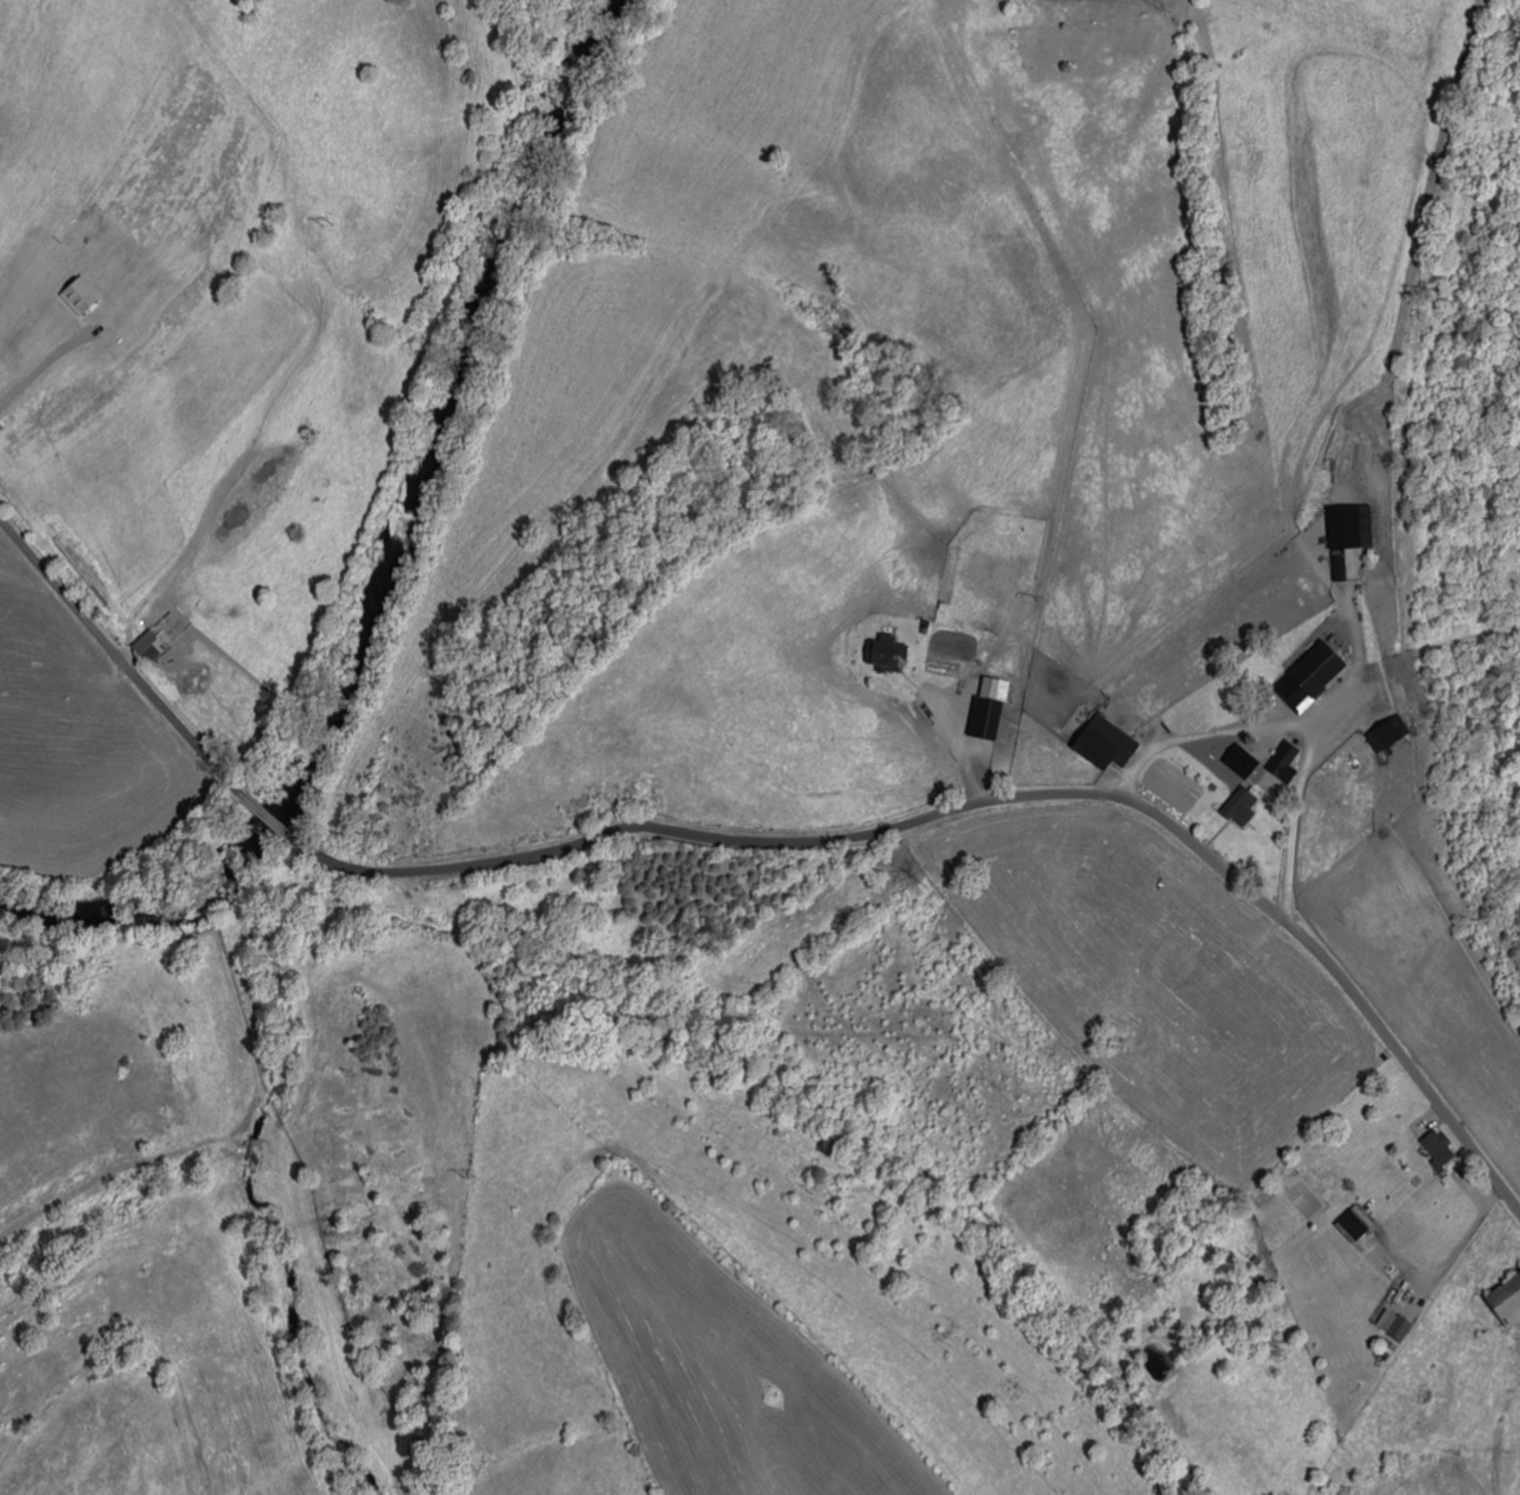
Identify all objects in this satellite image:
building: (1357, 537)
river: (386, 551)
building: (153, 647)
road: (111, 650)
building: (950, 656)
building: (1315, 677)
building: (993, 721)
building: (1392, 736)
building: (1109, 742)
building: (1288, 755)
road: (982, 803)
road: (254, 806)
building: (1244, 808)
building: (1441, 1151)
building: (1357, 1226)
building: (1509, 1300)
building: (1397, 1326)

